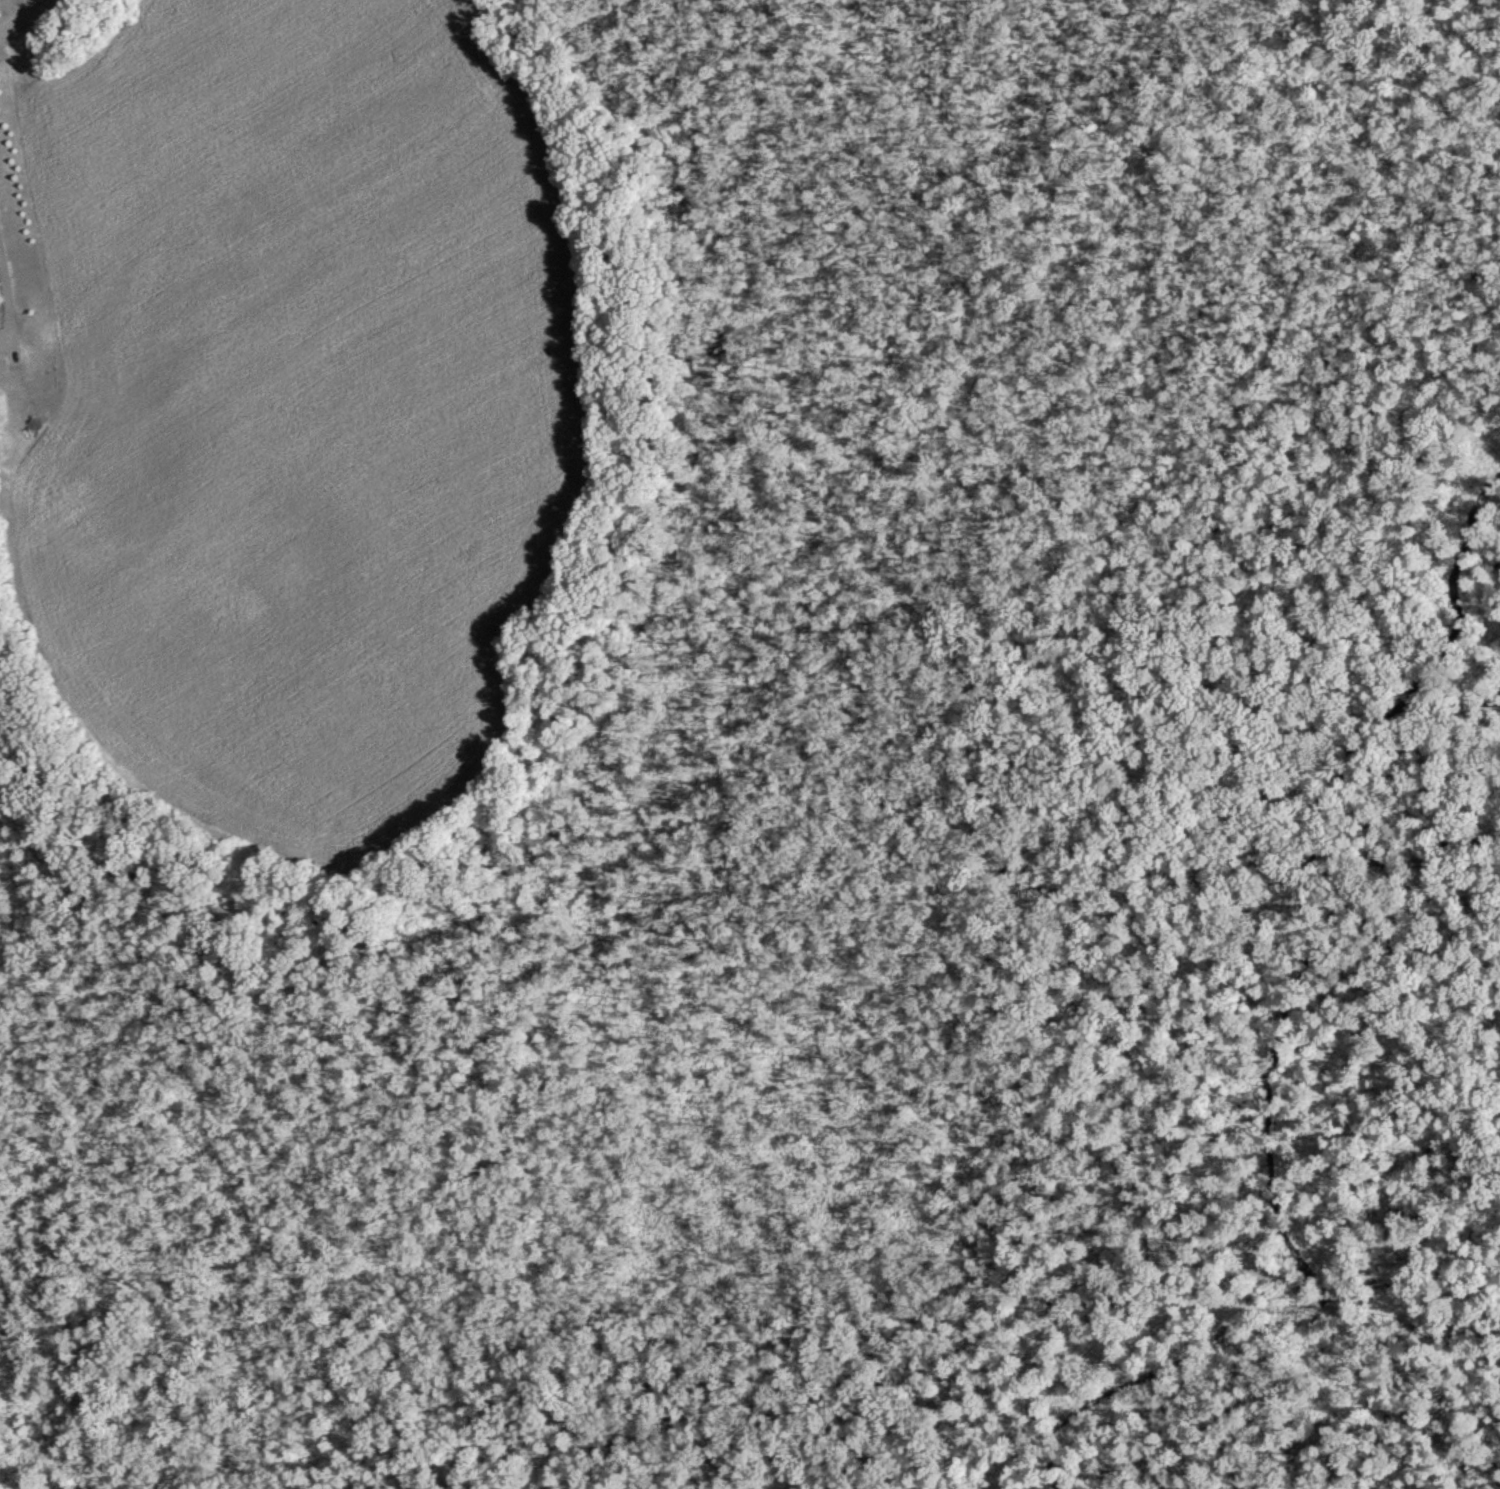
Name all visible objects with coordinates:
road: (21, 14)

